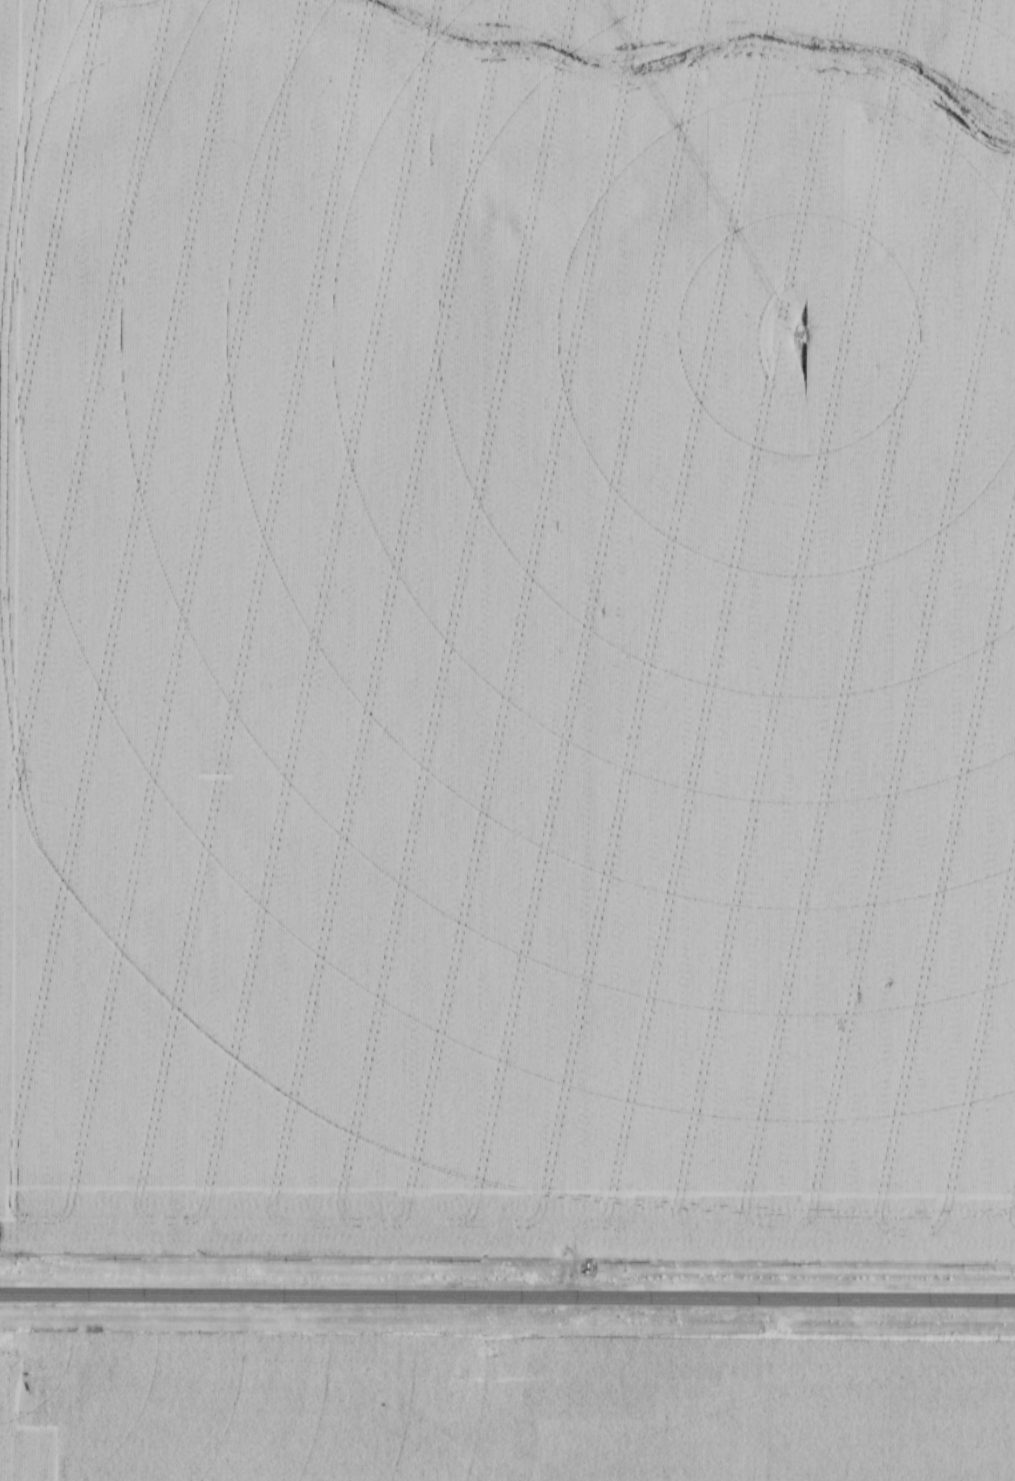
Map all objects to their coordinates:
road: (507, 1297)
crop: (502, 1408)

